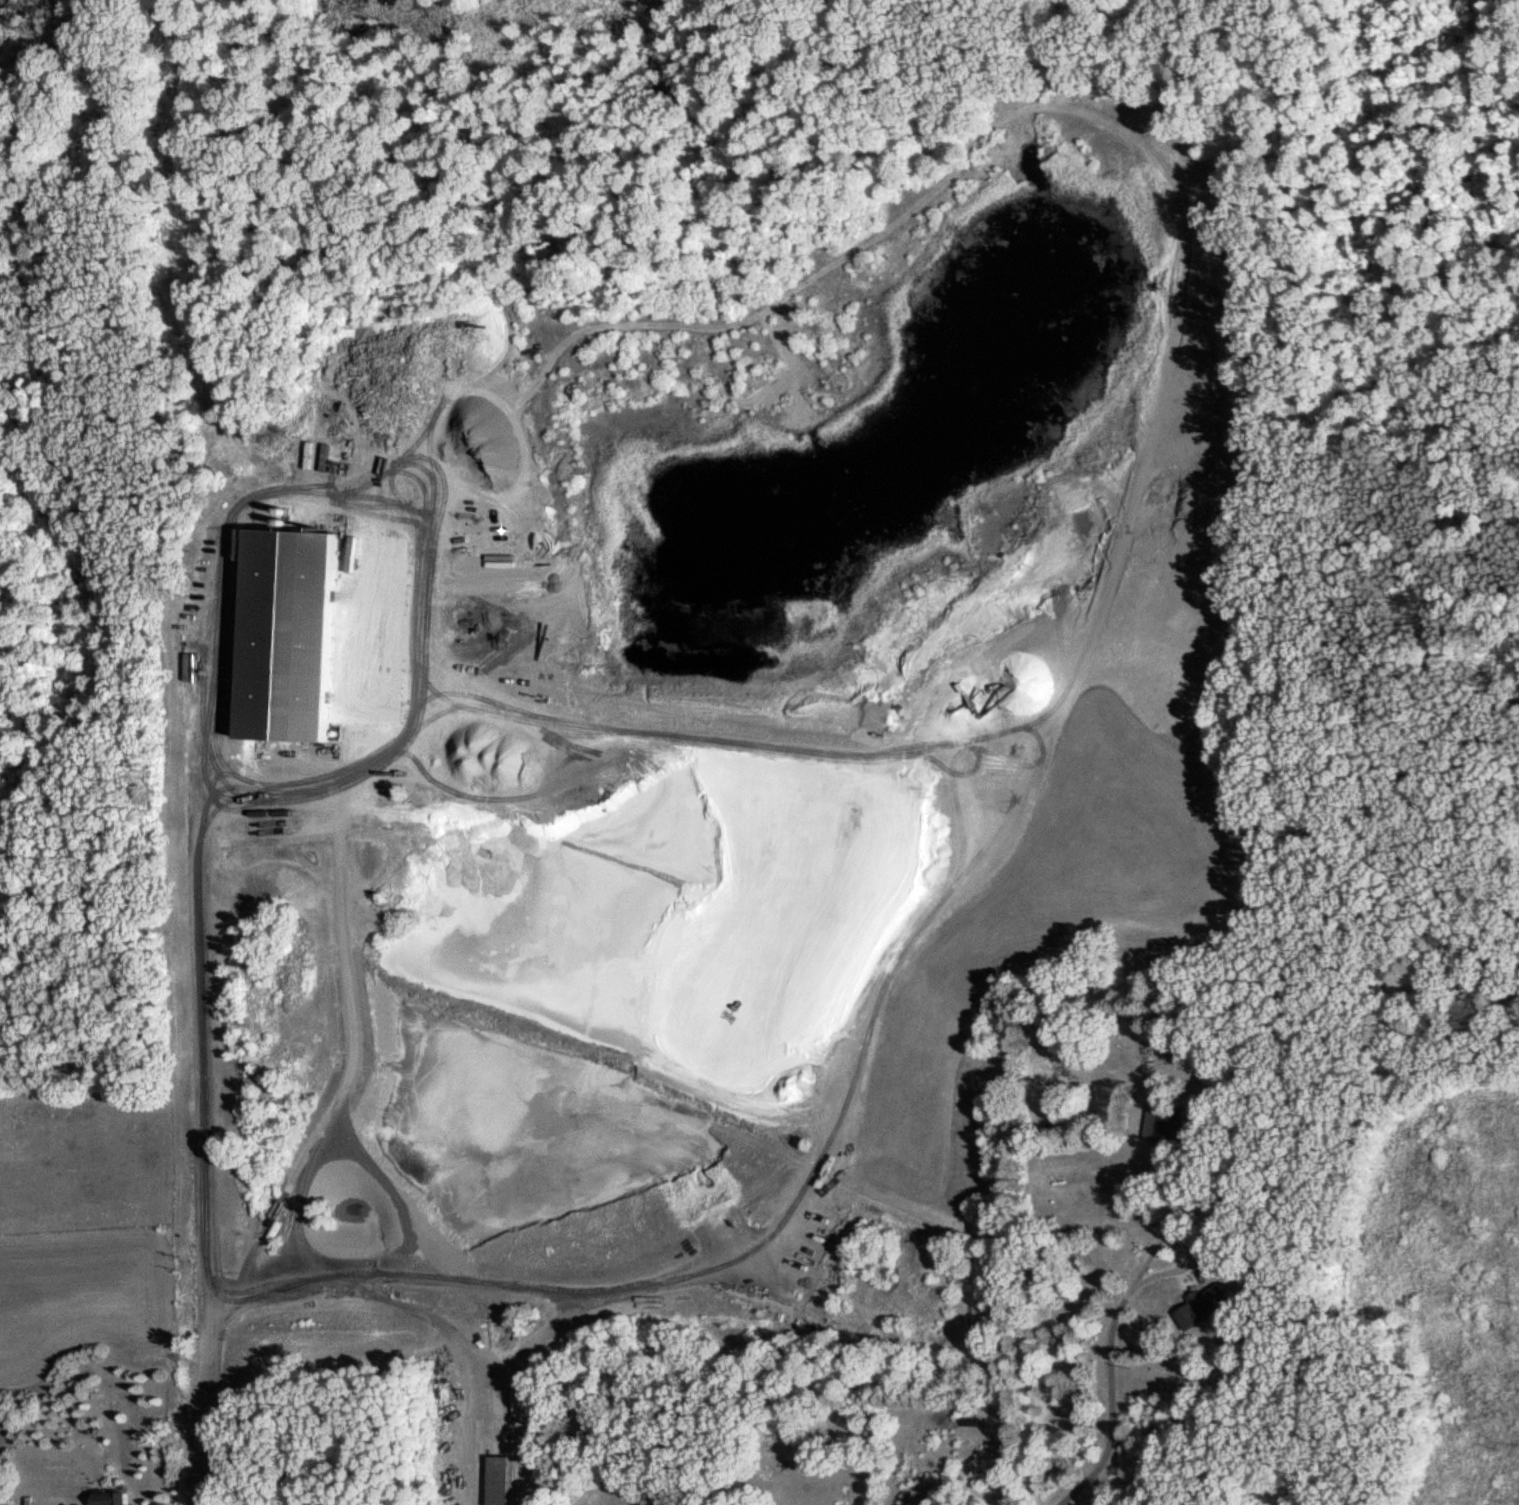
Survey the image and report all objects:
road: (214, 586)
building: (279, 631)
road: (350, 717)
quarry: (567, 860)
building: (1166, 1122)
road: (201, 1164)
road: (1180, 1239)
building: (1202, 1305)
road: (1109, 1400)
building: (496, 1481)
building: (109, 1497)

